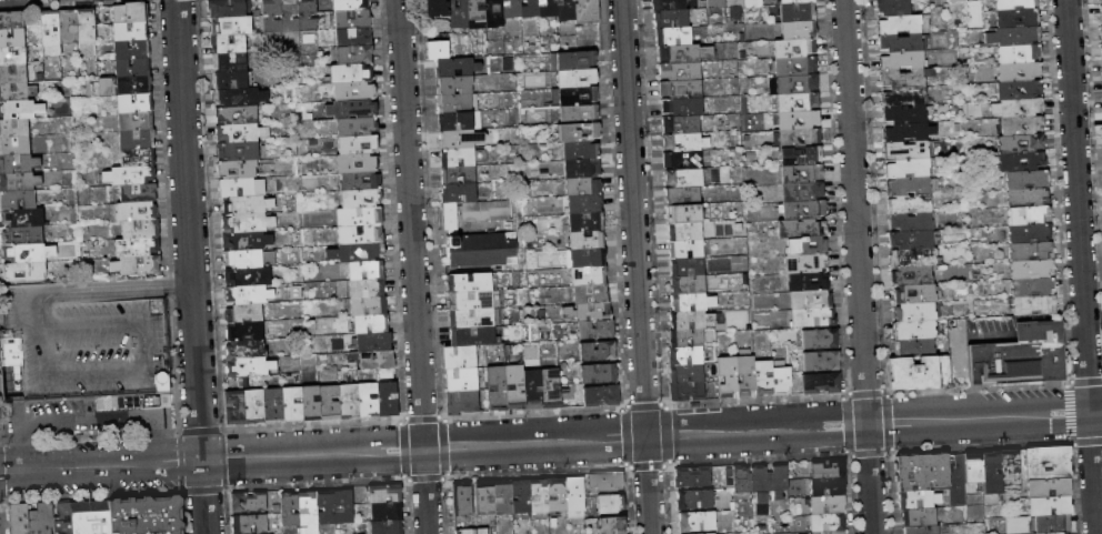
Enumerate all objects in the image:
building: (790, 0)
building: (959, 0)
building: (1100, 0)
building: (748, 2)
building: (665, 3)
building: (714, 3)
building: (731, 3)
building: (1012, 3)
building: (349, 4)
building: (431, 6)
building: (545, 7)
building: (891, 7)
building: (528, 8)
building: (227, 9)
building: (509, 9)
building: (562, 9)
building: (795, 10)
building: (1101, 10)
building: (127, 11)
building: (584, 11)
building: (491, 12)
building: (457, 13)
building: (474, 13)
building: (289, 16)
building: (307, 16)
building: (1014, 16)
building: (270, 17)
building: (668, 17)
building: (10, 18)
building: (351, 19)
building: (898, 22)
building: (66, 26)
building: (83, 26)
building: (230, 27)
building: (1101, 27)
building: (797, 28)
building: (128, 29)
building: (48, 33)
building: (670, 34)
building: (1015, 34)
building: (11, 36)
building: (352, 37)
building: (899, 41)
building: (228, 44)
building: (792, 46)
building: (129, 47)
building: (435, 48)
building: (677, 52)
building: (1015, 52)
building: (12, 54)
building: (352, 54)
building: (572, 58)
building: (900, 59)
building: (229, 63)
building: (793, 63)
building: (131, 64)
building: (452, 64)
building: (677, 70)
building: (1016, 70)
building: (13, 72)
building: (350, 73)
building: (573, 73)
building: (901, 75)
building: (230, 80)
building: (794, 81)
building: (453, 82)
building: (130, 83)
building: (679, 88)
building: (1018, 88)
building: (13, 89)
building: (351, 91)
building: (574, 91)
building: (902, 93)
building: (237, 98)
building: (795, 99)
building: (131, 100)
building: (454, 100)
building: (680, 105)
building: (1018, 105)
building: (14, 107)
building: (354, 109)
building: (575, 109)
building: (903, 111)
building: (236, 117)
building: (797, 117)
building: (133, 118)
building: (455, 118)
building: (681, 123)
building: (1019, 123)
building: (12, 125)
building: (355, 128)
building: (577, 128)
building: (903, 129)
building: (237, 133)
building: (797, 134)
building: (455, 135)
building: (136, 137)
building: (680, 140)
building: (1019, 141)
building: (13, 143)
building: (357, 144)
building: (577, 148)
building: (908, 148)
building: (238, 151)
building: (798, 152)
building: (136, 155)
building: (457, 155)
building: (681, 158)
building: (1020, 160)
building: (16, 161)
building: (358, 163)
building: (580, 165)
building: (909, 167)
building: (239, 170)
building: (799, 171)
building: (127, 173)
building: (457, 174)
building: (682, 175)
building: (1024, 178)
building: (19, 179)
building: (358, 182)
building: (580, 183)
building: (908, 183)
building: (240, 187)
building: (136, 190)
building: (800, 190)
building: (459, 192)
building: (681, 193)
building: (1025, 194)
building: (16, 197)
building: (359, 199)
building: (580, 201)
building: (908, 202)
building: (241, 204)
building: (801, 208)
building: (137, 209)
building: (682, 211)
building: (484, 212)
building: (1028, 213)
building: (20, 214)
building: (358, 218)
building: (450, 218)
building: (582, 220)
building: (909, 220)
building: (243, 222)
building: (799, 226)
building: (138, 228)
building: (683, 229)
building: (1028, 231)
building: (18, 233)
building: (360, 234)
building: (583, 238)
building: (910, 238)
building: (242, 241)
building: (804, 244)
building: (136, 245)
building: (684, 248)
building: (1030, 249)
building: (26, 250)
building: (360, 252)
building: (480, 252)
building: (584, 255)
building: (911, 258)
building: (249, 259)
building: (804, 262)
building: (137, 264)
building: (1031, 265)
road: (190, 266)
road: (413, 266)
road: (635, 266)
building: (685, 266)
road: (858, 266)
road: (1081, 266)
building: (22, 270)
building: (367, 270)
building: (585, 274)
building: (911, 275)
building: (250, 278)
building: (804, 281)
building: (467, 283)
building: (685, 284)
building: (1032, 284)
building: (367, 290)
road: (109, 291)
building: (588, 292)
building: (912, 293)
building: (250, 294)
building: (469, 299)
building: (807, 299)
building: (688, 301)
building: (1033, 304)
building: (368, 308)
road: (28, 311)
building: (591, 311)
building: (913, 311)
building: (244, 313)
road: (1041, 316)
building: (470, 318)
building: (810, 318)
building: (688, 319)
building: (740, 320)
road: (94, 324)
building: (368, 324)
road: (36, 328)
building: (912, 329)
building: (593, 330)
building: (247, 331)
road: (992, 335)
parking lot: (87, 336)
building: (471, 336)
building: (689, 337)
building: (818, 339)
building: (83, 340)
building: (373, 342)
building: (914, 345)
road: (147, 346)
building: (248, 349)
building: (595, 351)
road: (44, 352)
building: (684, 355)
building: (1013, 355)
building: (458, 356)
building: (374, 360)
building: (819, 361)
building: (249, 366)
building: (599, 372)
building: (911, 372)
building: (685, 373)
road: (97, 374)
building: (743, 375)
building: (725, 376)
building: (761, 376)
building: (460, 377)
building: (779, 380)
building: (819, 384)
building: (513, 386)
building: (495, 387)
building: (549, 387)
building: (530, 389)
building: (687, 392)
building: (600, 394)
building: (385, 399)
building: (462, 401)
building: (329, 402)
building: (348, 402)
building: (367, 402)
building: (309, 405)
building: (270, 406)
building: (290, 406)
building: (232, 407)
building: (252, 407)
road: (87, 421)
road: (550, 442)
building: (1049, 463)
building: (829, 470)
building: (974, 471)
building: (1010, 472)
building: (992, 474)
building: (934, 475)
building: (693, 478)
building: (742, 480)
building: (607, 482)
building: (780, 482)
building: (829, 486)
building: (761, 488)
building: (1049, 488)
building: (385, 494)
building: (575, 494)
building: (558, 495)
building: (522, 496)
building: (539, 496)
building: (503, 497)
building: (463, 498)
building: (485, 498)
building: (695, 500)
building: (920, 500)
building: (249, 502)
building: (611, 504)
building: (829, 504)
building: (1050, 506)
building: (327, 507)
building: (344, 507)
building: (290, 510)
building: (309, 512)
building: (388, 512)
building: (148, 515)
building: (92, 517)
building: (920, 517)
building: (19, 518)
building: (63, 518)
building: (42, 520)
building: (698, 523)
building: (828, 523)
building: (250, 524)
building: (1014, 524)
building: (1053, 524)
building: (612, 525)
building: (387, 527)
building: (923, 530)
building: (475, 531)
building: (829, 532)
building: (713, 533)
building: (1063, 533)

